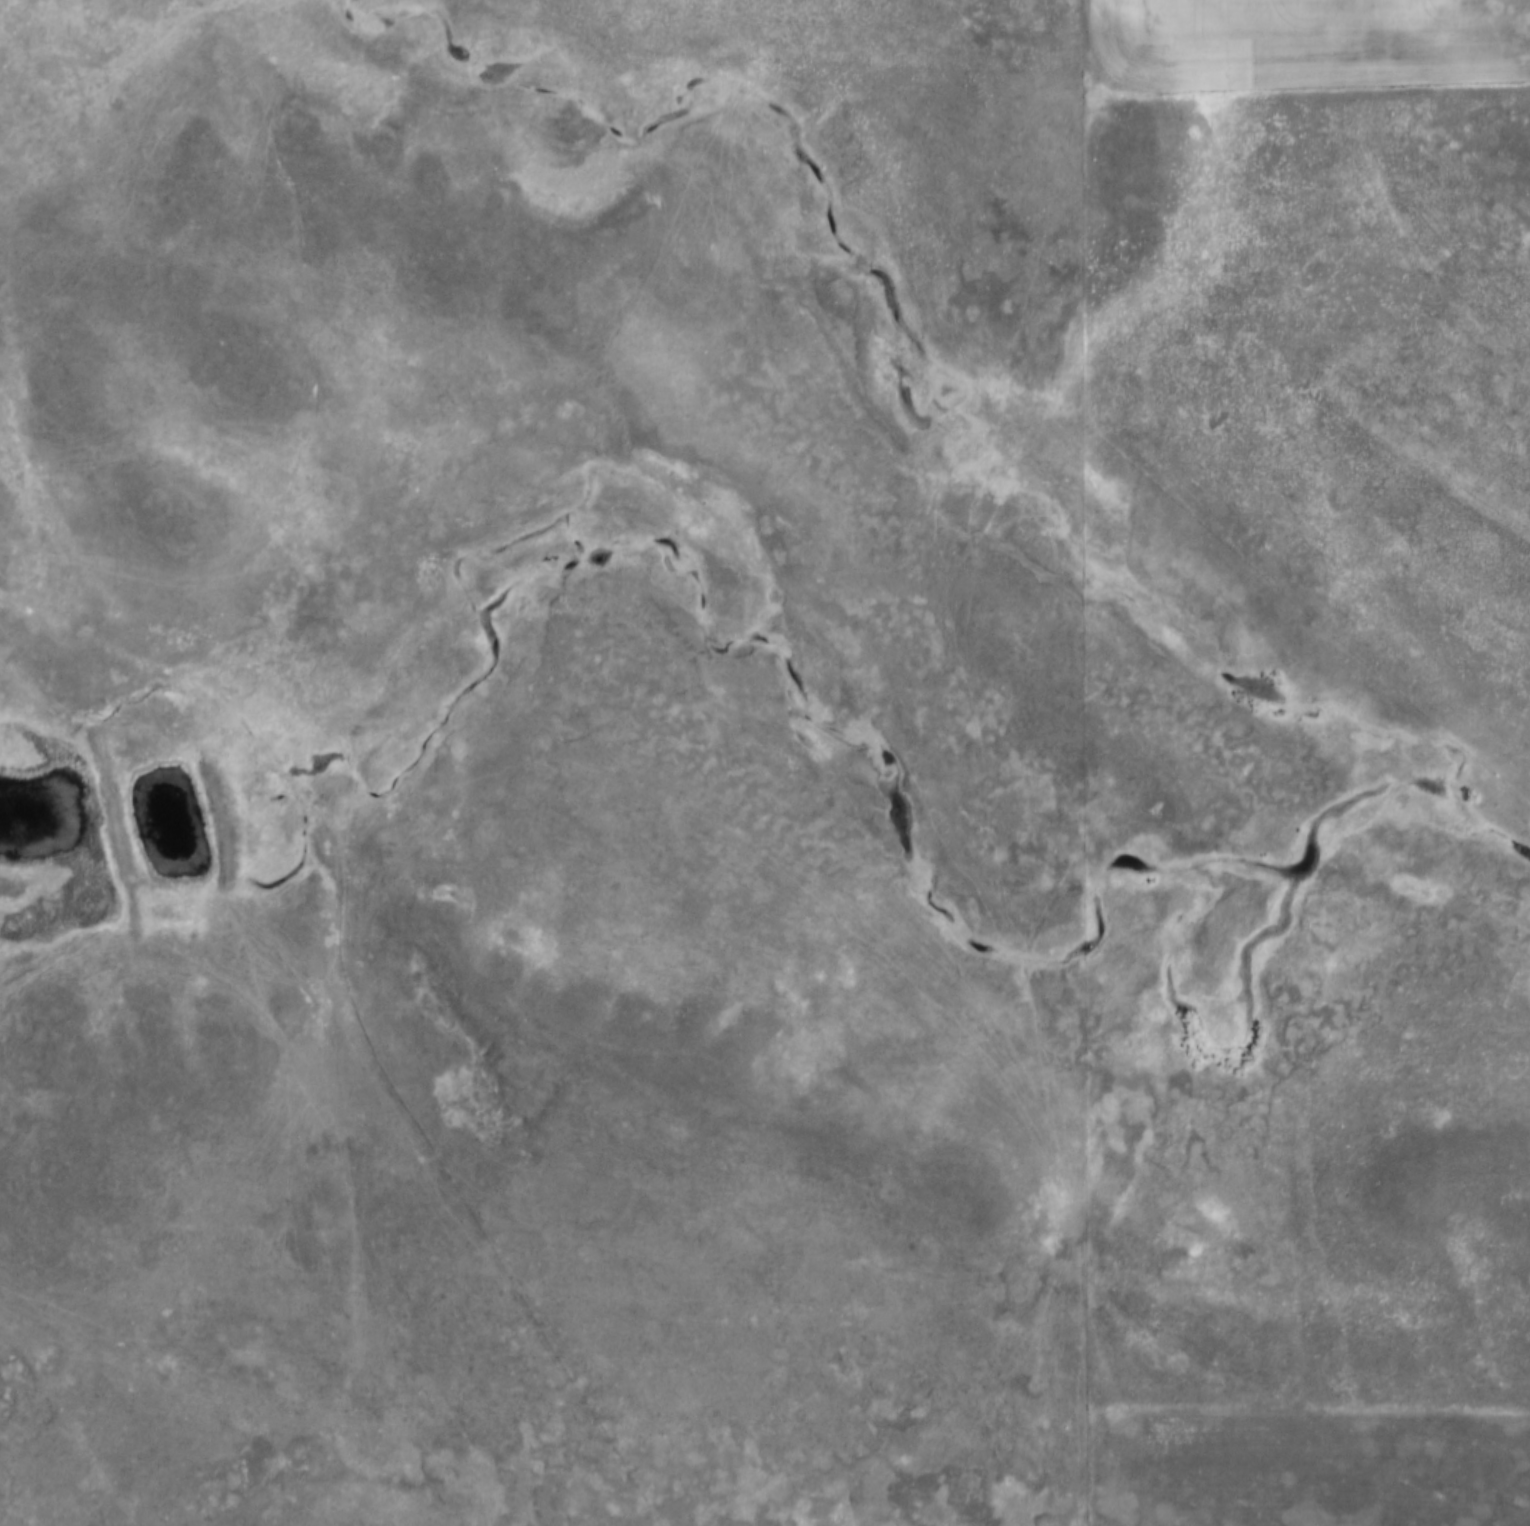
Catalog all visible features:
road: (1154, 70)
road: (1317, 1415)

